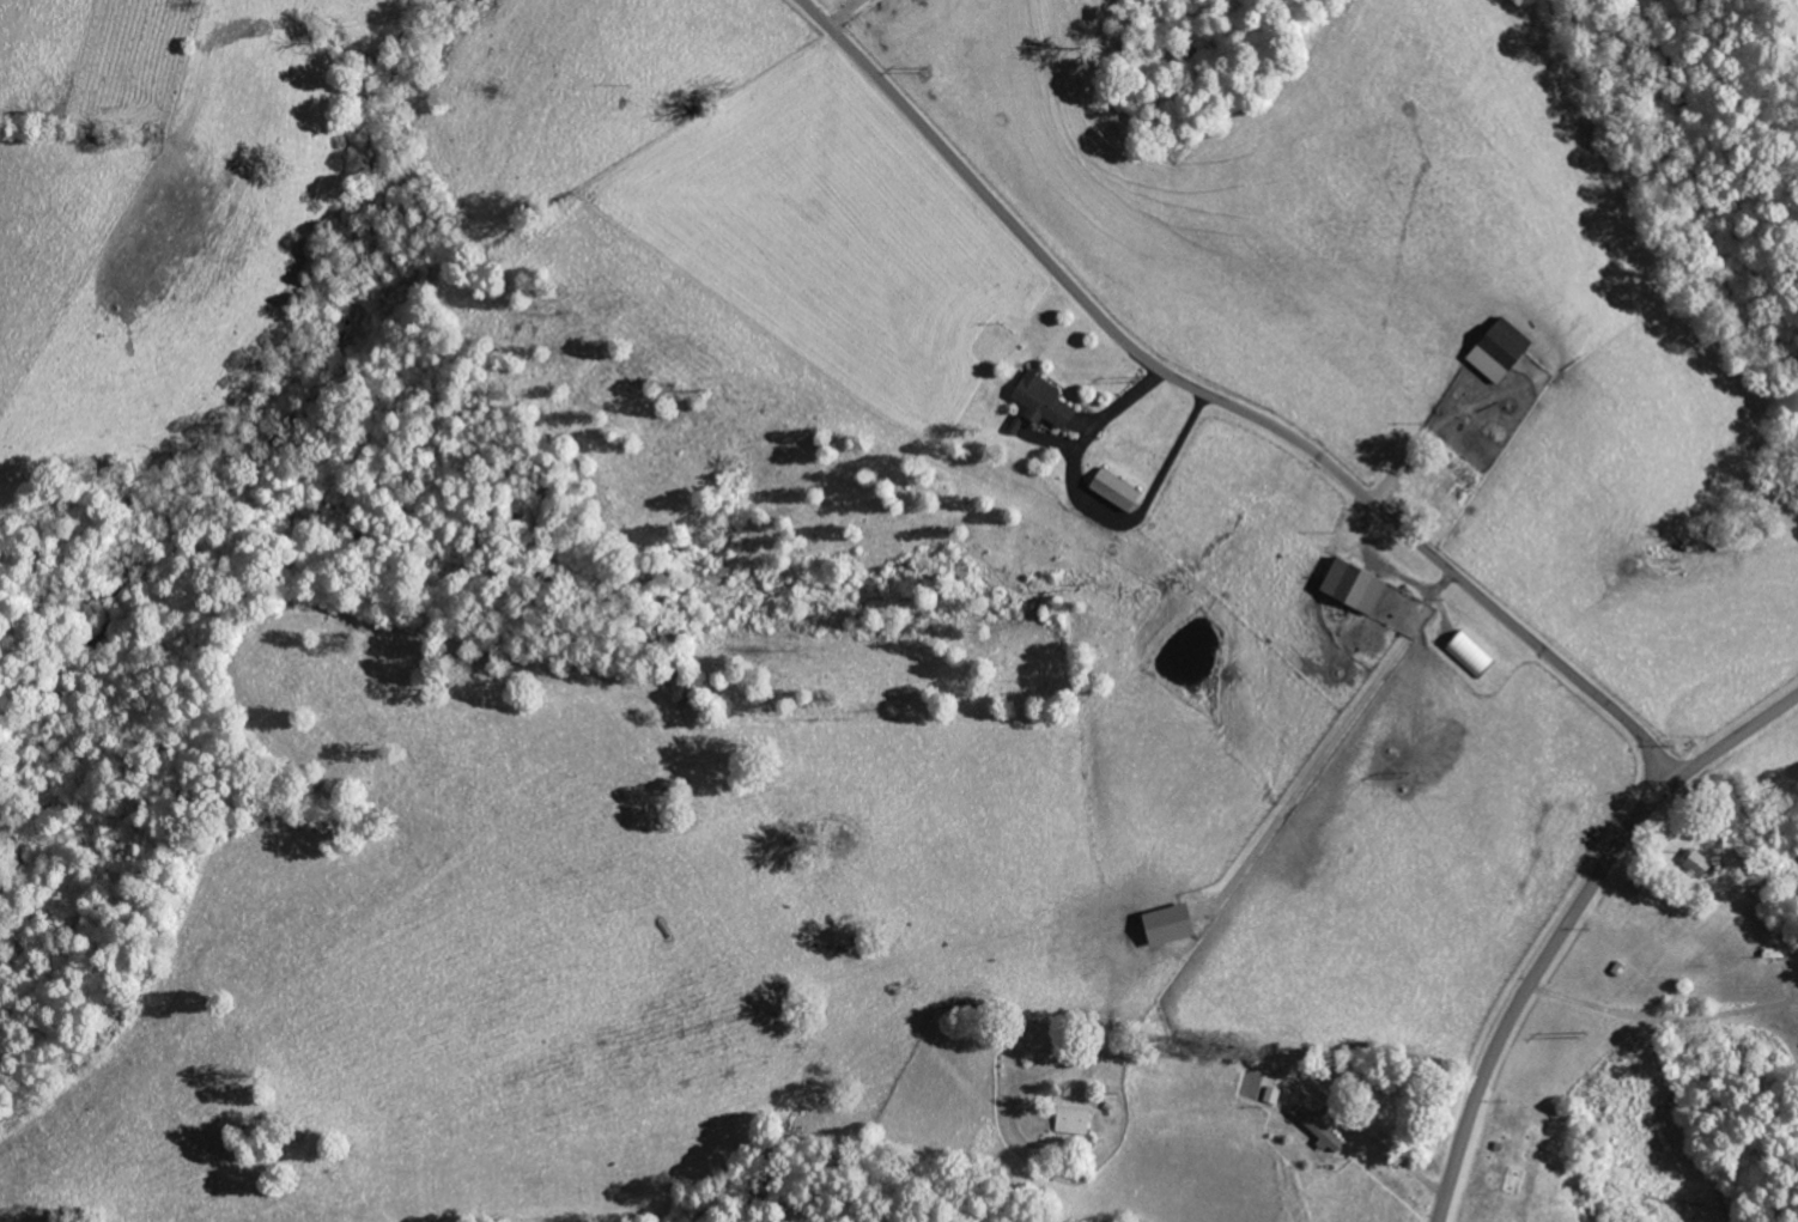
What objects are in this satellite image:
building: (1494, 349)
building: (1047, 402)
road: (1226, 405)
building: (1119, 491)
building: (1348, 588)
building: (1694, 864)
road: (1568, 923)
building: (1177, 925)
road: (1172, 1047)
building: (1272, 1096)
building: (1075, 1121)
building: (1313, 1129)

